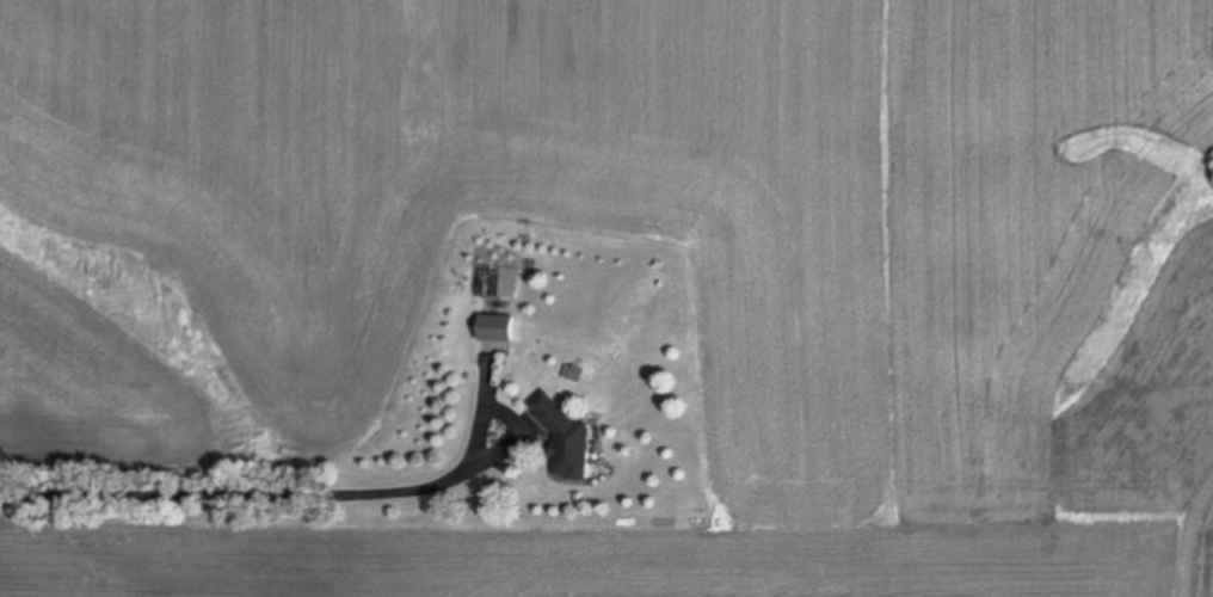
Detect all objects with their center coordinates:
building: (503, 328)
road: (507, 408)
building: (574, 438)
road: (239, 493)

